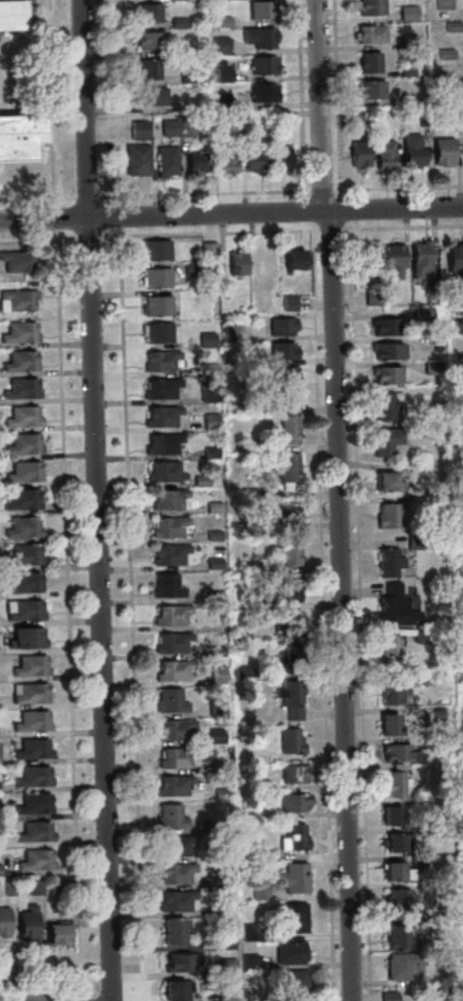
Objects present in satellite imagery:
building: (441, 4)
building: (370, 7)
building: (261, 9)
building: (147, 12)
building: (407, 13)
building: (12, 14)
building: (220, 21)
building: (177, 22)
building: (450, 26)
building: (369, 34)
building: (258, 36)
building: (149, 40)
building: (406, 40)
building: (219, 45)
building: (443, 53)
building: (218, 62)
building: (368, 62)
building: (261, 65)
building: (146, 68)
building: (405, 71)
building: (222, 73)
building: (186, 77)
building: (439, 85)
building: (370, 89)
building: (261, 92)
building: (150, 96)
road: (336, 99)
building: (405, 99)
road: (300, 100)
road: (114, 102)
road: (51, 103)
road: (317, 105)
building: (275, 114)
building: (355, 118)
building: (422, 118)
building: (241, 122)
building: (450, 124)
building: (168, 128)
building: (185, 128)
building: (137, 130)
building: (20, 136)
building: (411, 150)
building: (441, 150)
building: (461, 150)
building: (358, 151)
building: (382, 154)
building: (224, 158)
building: (278, 158)
building: (136, 159)
building: (253, 160)
building: (164, 161)
building: (195, 162)
road: (398, 187)
road: (320, 189)
road: (201, 193)
road: (85, 197)
road: (37, 199)
road: (342, 210)
road: (307, 211)
road: (231, 212)
road: (117, 215)
road: (55, 217)
road: (402, 227)
road: (329, 229)
road: (207, 233)
road: (86, 237)
road: (37, 238)
building: (154, 250)
building: (207, 250)
building: (292, 258)
building: (419, 258)
building: (453, 258)
building: (392, 259)
building: (365, 260)
building: (16, 261)
building: (235, 262)
building: (267, 263)
building: (190, 268)
building: (155, 278)
building: (458, 285)
building: (429, 291)
building: (370, 296)
building: (16, 299)
building: (287, 302)
building: (155, 305)
building: (421, 314)
building: (279, 325)
building: (384, 326)
building: (457, 328)
building: (19, 332)
building: (156, 332)
building: (230, 333)
building: (205, 339)
building: (280, 350)
building: (384, 350)
building: (454, 355)
building: (159, 360)
building: (20, 361)
building: (431, 367)
building: (207, 368)
building: (385, 374)
building: (282, 375)
building: (159, 388)
building: (20, 389)
building: (208, 394)
building: (282, 399)
building: (382, 406)
building: (245, 408)
building: (160, 416)
building: (22, 417)
building: (211, 421)
building: (284, 430)
building: (384, 440)
building: (161, 443)
building: (23, 444)
building: (246, 445)
building: (209, 452)
building: (287, 469)
building: (23, 471)
building: (164, 472)
building: (389, 480)
building: (200, 481)
building: (21, 499)
building: (166, 499)
road: (94, 500)
building: (212, 507)
building: (282, 512)
building: (387, 516)
building: (462, 526)
building: (22, 527)
building: (170, 527)
building: (236, 529)
building: (213, 535)
building: (413, 541)
building: (286, 552)
building: (23, 554)
building: (168, 554)
building: (460, 561)
building: (387, 562)
building: (213, 563)
building: (248, 568)
building: (23, 583)
building: (165, 586)
building: (288, 587)
building: (214, 595)
building: (261, 601)
road: (339, 605)
building: (394, 607)
building: (22, 610)
road: (358, 610)
road: (321, 611)
road: (65, 613)
road: (129, 613)
building: (170, 615)
building: (287, 623)
building: (420, 636)
building: (23, 638)
building: (238, 639)
building: (171, 642)
building: (386, 647)
building: (215, 651)
building: (288, 658)
building: (29, 666)
building: (171, 670)
building: (239, 672)
building: (217, 674)
building: (460, 675)
building: (419, 679)
building: (390, 692)
building: (28, 693)
building: (289, 698)
building: (168, 701)
building: (215, 708)
building: (432, 715)
building: (30, 721)
building: (387, 725)
building: (174, 729)
building: (215, 736)
building: (289, 741)
building: (32, 749)
building: (394, 752)
building: (174, 757)
building: (461, 760)
building: (217, 765)
building: (449, 768)
building: (292, 773)
building: (32, 776)
building: (393, 784)
building: (172, 785)
building: (219, 793)
building: (292, 802)
building: (33, 803)
building: (389, 815)
building: (168, 816)
building: (34, 832)
building: (424, 834)
building: (292, 838)
building: (392, 843)
building: (228, 845)
building: (172, 846)
building: (268, 854)
building: (417, 859)
building: (35, 860)
building: (395, 872)
building: (174, 873)
building: (291, 877)
building: (209, 882)
building: (57, 886)
building: (35, 887)
building: (8, 888)
building: (259, 892)
building: (398, 899)
building: (175, 901)
building: (218, 905)
building: (292, 918)
building: (431, 921)
building: (3, 922)
building: (26, 923)
building: (171, 931)
building: (249, 932)
building: (55, 934)
building: (397, 937)
building: (225, 941)
building: (288, 952)
building: (248, 960)
road: (108, 962)
road: (129, 962)
building: (180, 962)
building: (225, 966)
building: (402, 966)
road: (50, 977)
building: (294, 985)
building: (174, 991)
building: (424, 995)
building: (453, 995)
road: (12, 996)
building: (225, 996)
building: (387, 996)
road: (78, 1000)

